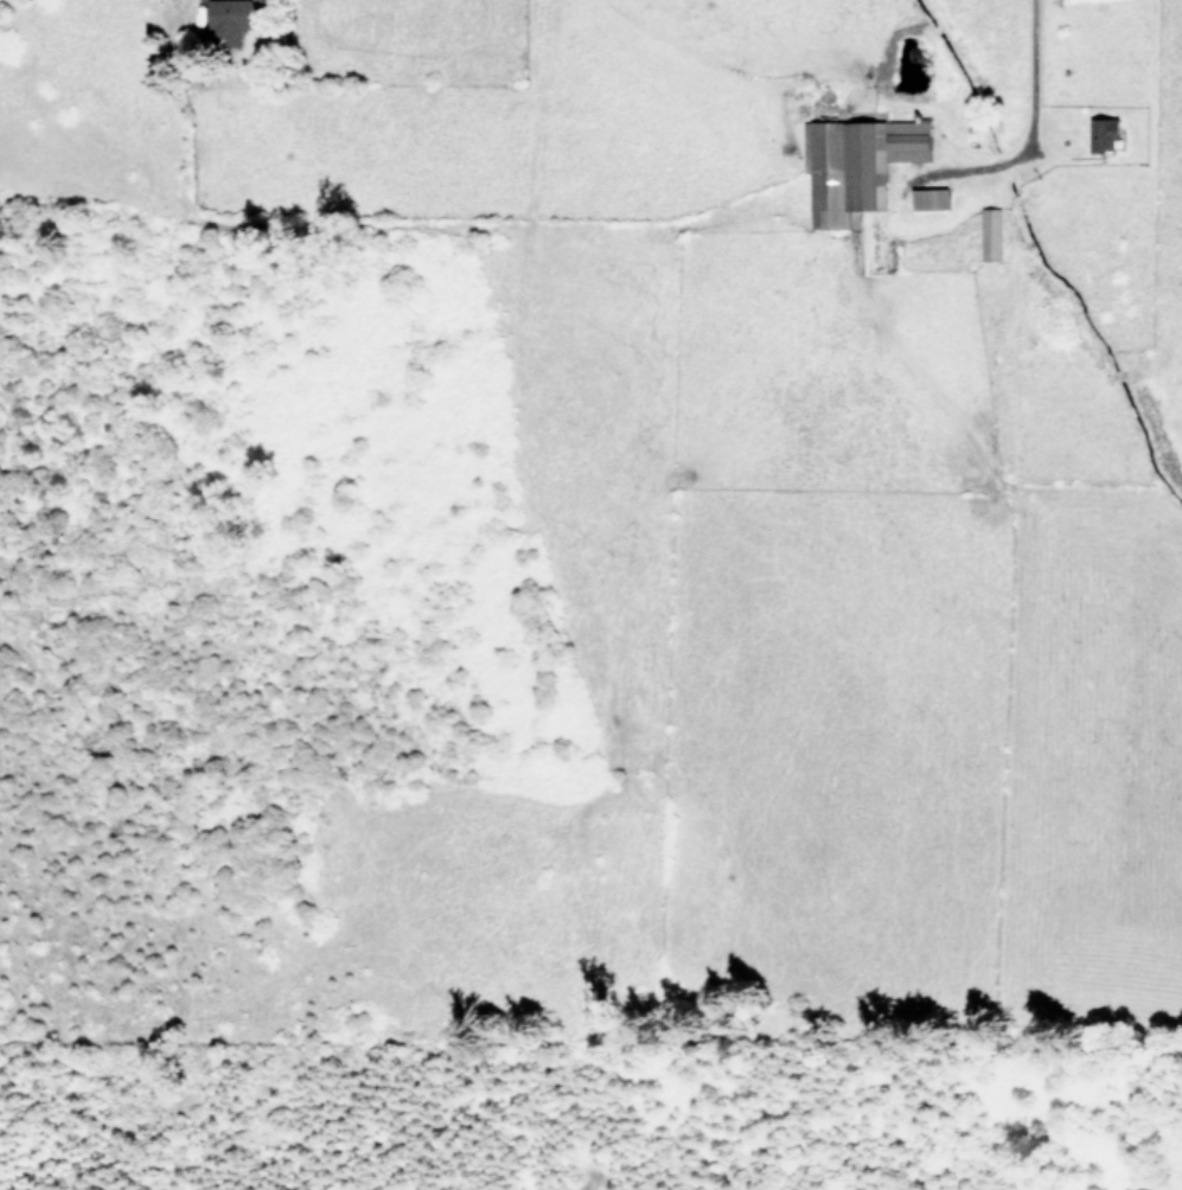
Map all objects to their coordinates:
road: (1028, 89)
building: (1103, 133)
building: (908, 140)
building: (841, 169)
building: (990, 233)

